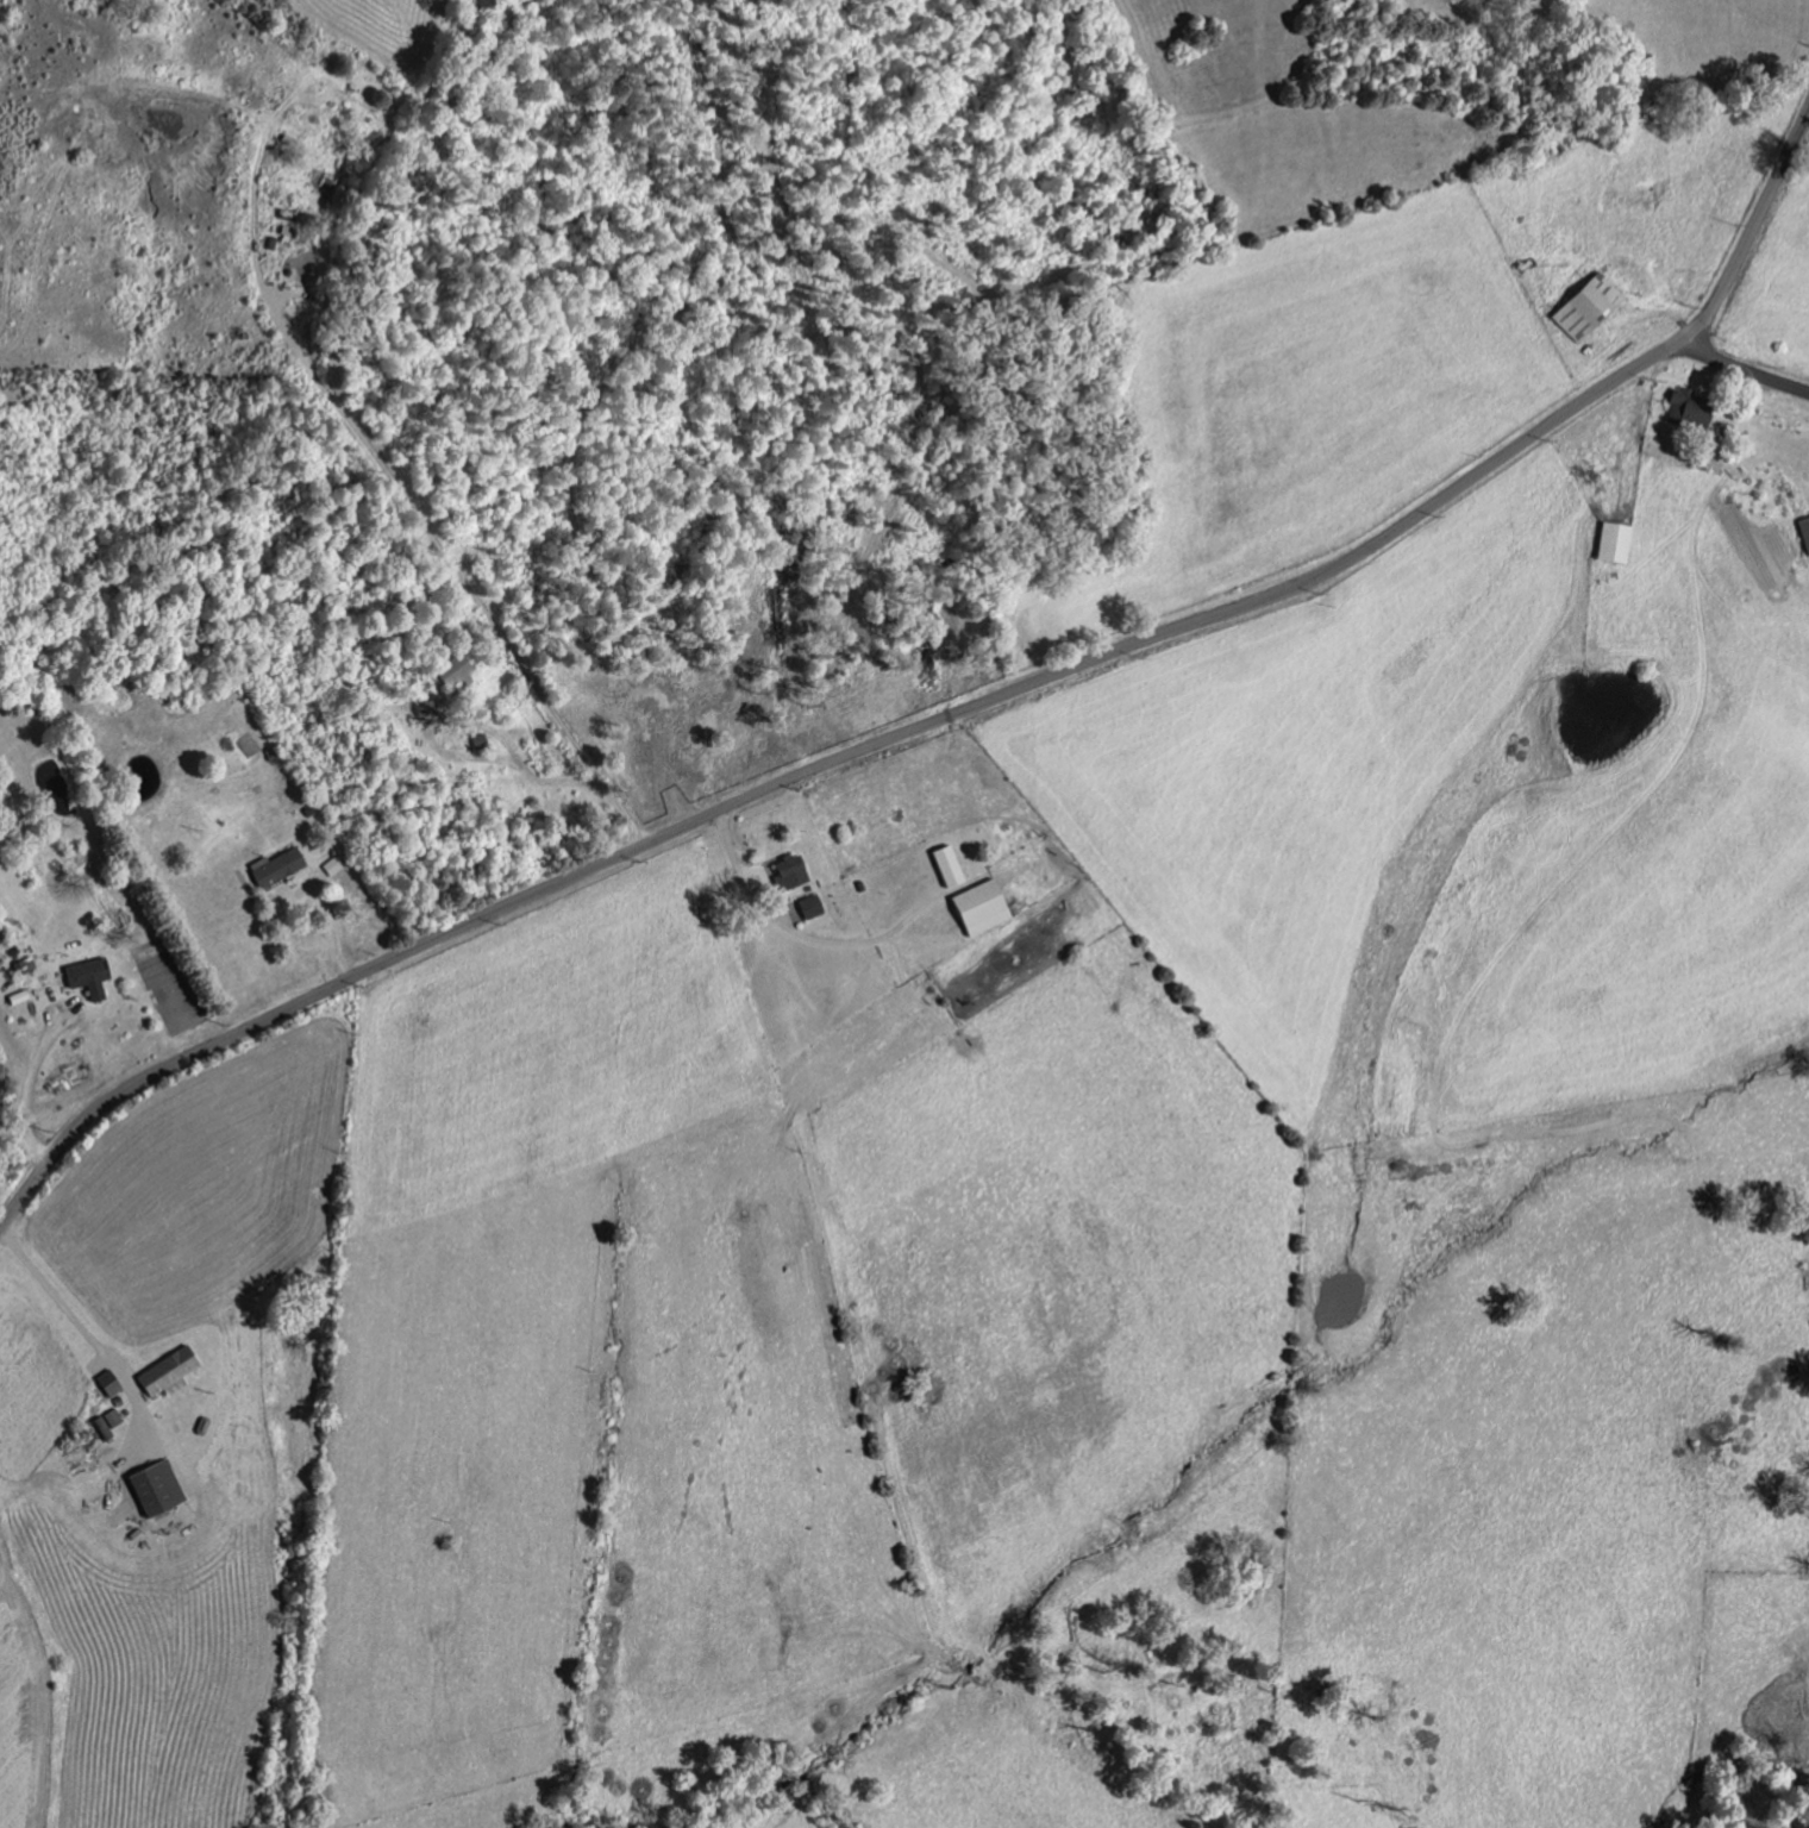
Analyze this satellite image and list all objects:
building: (1583, 306)
road: (1741, 371)
building: (1684, 411)
building: (1803, 534)
road: (434, 537)
building: (1610, 544)
building: (461, 671)
building: (431, 710)
road: (949, 716)
road: (738, 865)
building: (954, 866)
building: (283, 868)
building: (796, 874)
building: (815, 907)
building: (988, 907)
building: (92, 977)
road: (20, 1126)
road: (2, 1219)
road: (86, 1331)
building: (173, 1372)
building: (112, 1383)
building: (162, 1488)

